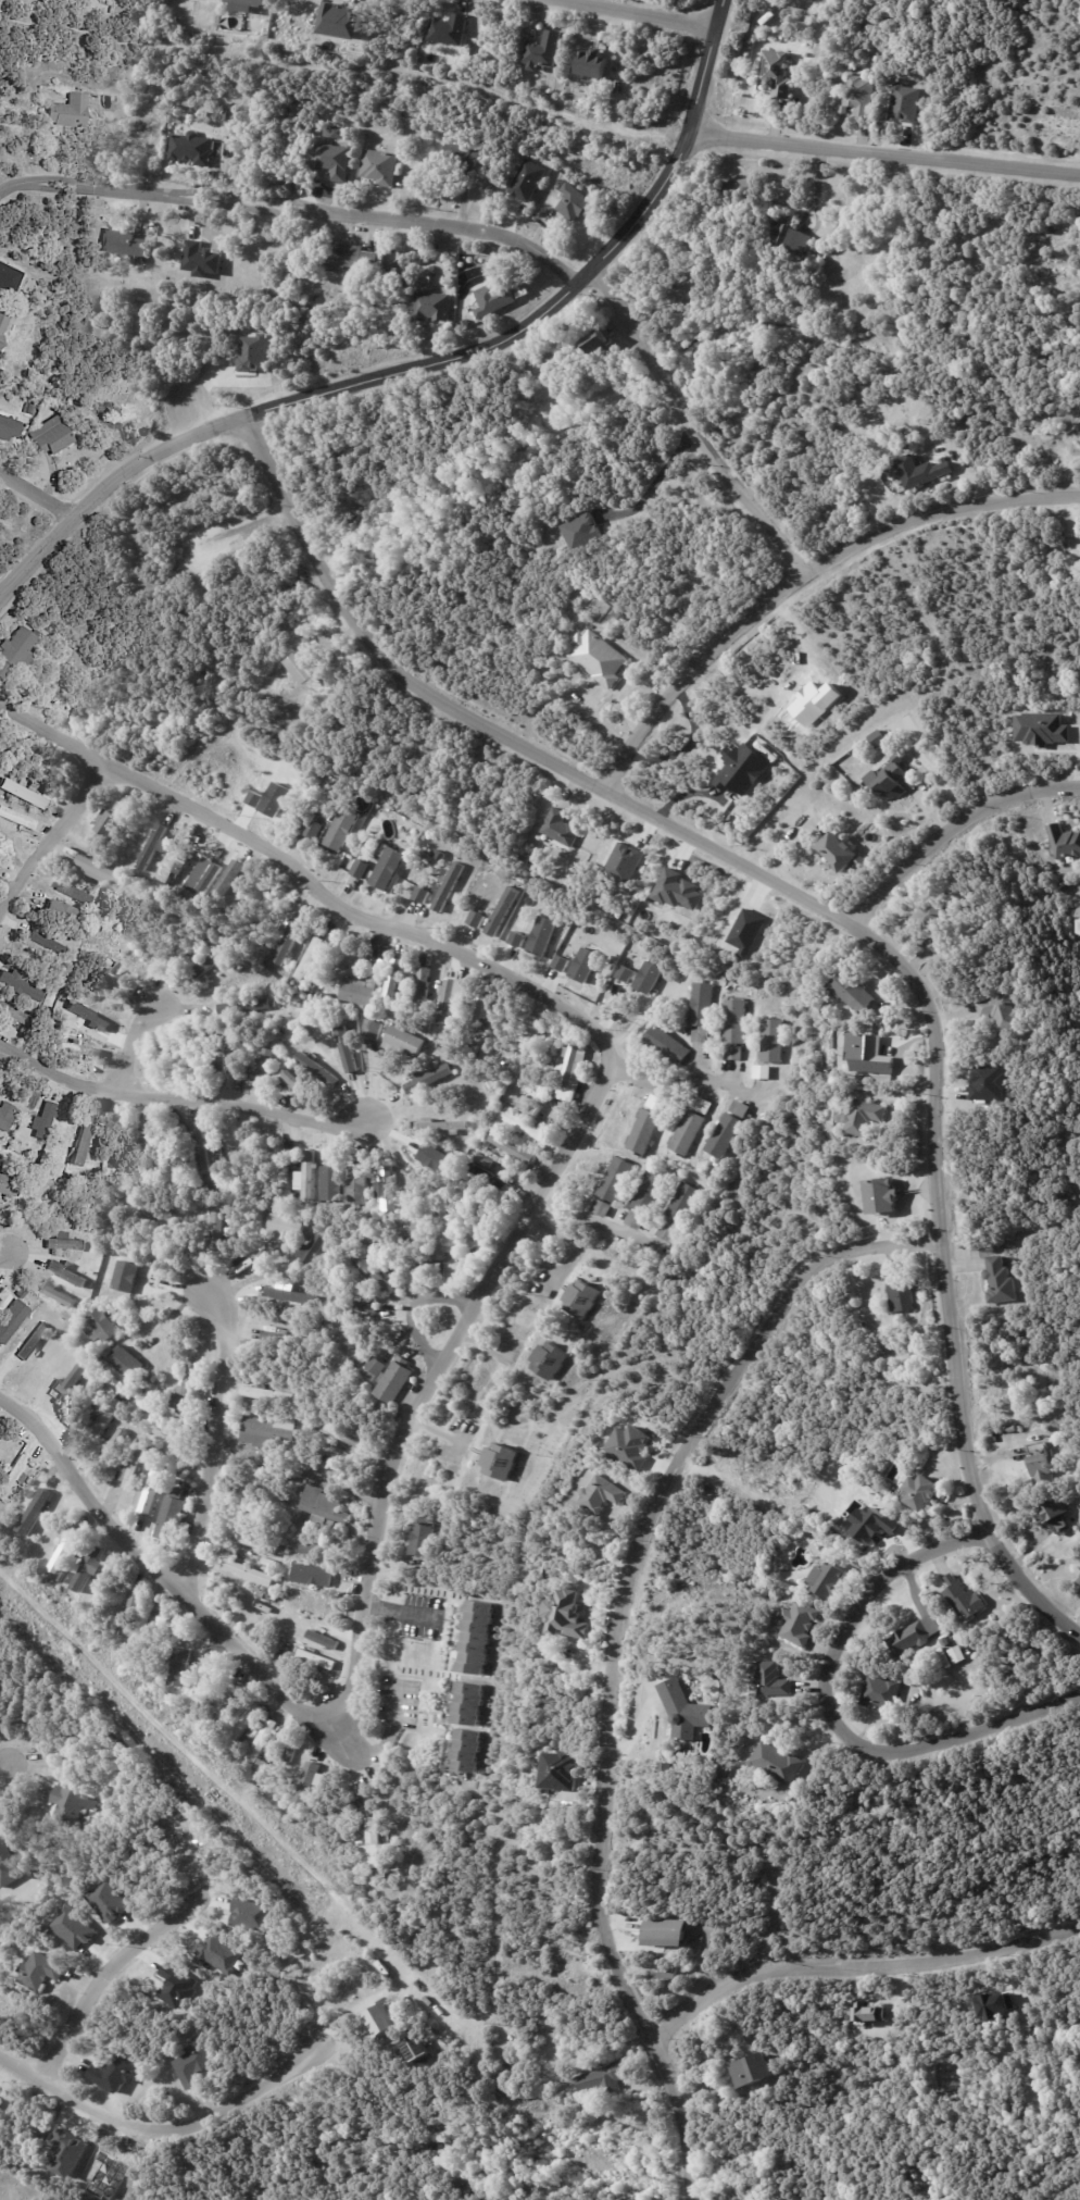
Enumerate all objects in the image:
building: (247, 5)
road: (642, 12)
building: (347, 23)
building: (449, 29)
building: (547, 51)
building: (803, 54)
building: (592, 64)
building: (776, 74)
building: (857, 97)
building: (164, 107)
building: (70, 112)
building: (192, 149)
building: (228, 150)
building: (464, 158)
road: (887, 158)
building: (382, 167)
building: (526, 179)
building: (741, 187)
building: (578, 204)
road: (293, 208)
building: (537, 216)
building: (792, 239)
building: (126, 244)
building: (352, 258)
building: (200, 259)
building: (424, 276)
building: (9, 277)
building: (143, 283)
building: (495, 300)
building: (435, 308)
building: (3, 325)
building: (598, 343)
road: (429, 362)
building: (551, 381)
building: (28, 410)
road: (702, 425)
building: (9, 431)
building: (52, 437)
building: (925, 470)
road: (663, 471)
road: (37, 496)
road: (244, 523)
road: (807, 580)
building: (620, 617)
building: (15, 650)
building: (600, 659)
building: (313, 663)
building: (303, 667)
building: (1039, 729)
building: (878, 737)
building: (742, 770)
building: (892, 779)
building: (34, 785)
building: (23, 794)
building: (16, 819)
building: (113, 823)
building: (406, 824)
building: (563, 828)
building: (316, 829)
building: (343, 829)
road: (51, 834)
road: (955, 835)
building: (1064, 842)
building: (155, 845)
building: (842, 850)
building: (526, 861)
building: (179, 863)
building: (363, 869)
building: (389, 869)
building: (104, 874)
building: (228, 880)
building: (451, 887)
building: (676, 890)
building: (76, 894)
building: (420, 894)
building: (505, 911)
building: (63, 915)
building: (476, 918)
road: (840, 918)
building: (929, 924)
building: (1077, 924)
building: (745, 931)
building: (541, 935)
building: (289, 940)
building: (48, 944)
building: (190, 946)
building: (311, 958)
building: (216, 960)
building: (583, 965)
building: (648, 977)
building: (118, 980)
building: (394, 982)
building: (22, 986)
building: (315, 987)
building: (335, 989)
building: (361, 992)
building: (425, 992)
building: (857, 993)
building: (452, 1005)
building: (705, 1005)
building: (237, 1006)
building: (481, 1009)
building: (995, 1012)
building: (15, 1016)
building: (736, 1022)
building: (376, 1029)
building: (281, 1031)
building: (204, 1036)
building: (704, 1036)
building: (256, 1041)
building: (775, 1041)
building: (405, 1043)
building: (435, 1045)
building: (671, 1046)
road: (130, 1048)
building: (347, 1048)
building: (80, 1051)
building: (231, 1053)
building: (737, 1053)
building: (221, 1055)
building: (188, 1060)
building: (266, 1068)
building: (317, 1069)
building: (569, 1071)
building: (766, 1072)
building: (429, 1077)
road: (682, 1080)
building: (297, 1081)
road: (177, 1098)
building: (660, 1104)
building: (705, 1106)
building: (533, 1107)
building: (741, 1108)
building: (7, 1117)
building: (865, 1117)
building: (48, 1121)
building: (444, 1126)
building: (525, 1126)
building: (646, 1131)
building: (691, 1133)
building: (728, 1135)
building: (85, 1141)
building: (151, 1144)
building: (20, 1145)
building: (490, 1145)
building: (202, 1146)
building: (512, 1147)
building: (229, 1148)
building: (434, 1157)
building: (486, 1160)
building: (0, 1165)
building: (310, 1176)
building: (494, 1179)
building: (616, 1181)
building: (331, 1183)
building: (360, 1185)
building: (10, 1186)
building: (388, 1190)
building: (650, 1192)
building: (889, 1193)
building: (681, 1205)
building: (602, 1208)
building: (153, 1209)
building: (415, 1216)
building: (635, 1218)
road: (594, 1220)
building: (470, 1225)
building: (289, 1228)
building: (91, 1230)
building: (663, 1232)
building: (447, 1240)
building: (415, 1241)
building: (64, 1244)
building: (991, 1251)
building: (312, 1252)
road: (2, 1254)
building: (246, 1256)
road: (499, 1265)
building: (290, 1271)
building: (65, 1272)
building: (125, 1276)
building: (374, 1276)
building: (997, 1282)
building: (904, 1290)
building: (3, 1295)
building: (62, 1297)
building: (585, 1301)
building: (356, 1306)
road: (413, 1307)
building: (13, 1320)
building: (103, 1327)
building: (288, 1338)
building: (130, 1347)
building: (554, 1362)
building: (374, 1369)
building: (152, 1381)
building: (395, 1381)
building: (68, 1385)
building: (190, 1391)
building: (269, 1394)
building: (126, 1395)
building: (110, 1418)
building: (272, 1431)
building: (350, 1438)
building: (146, 1442)
road: (209, 1444)
building: (115, 1445)
building: (629, 1445)
building: (158, 1456)
building: (278, 1461)
building: (505, 1463)
building: (135, 1470)
building: (1039, 1470)
building: (12, 1478)
building: (282, 1478)
building: (153, 1491)
building: (602, 1492)
building: (925, 1492)
building: (179, 1493)
building: (327, 1508)
building: (39, 1512)
building: (1051, 1513)
building: (172, 1520)
building: (872, 1524)
building: (423, 1540)
building: (53, 1545)
building: (261, 1545)
building: (68, 1550)
building: (318, 1551)
building: (286, 1552)
building: (312, 1574)
building: (254, 1576)
building: (831, 1579)
building: (1078, 1580)
building: (1079, 1582)
building: (967, 1600)
road: (397, 1609)
building: (567, 1615)
building: (134, 1617)
building: (800, 1624)
building: (160, 1635)
building: (478, 1637)
building: (917, 1637)
building: (323, 1639)
building: (947, 1642)
road: (625, 1645)
building: (319, 1661)
building: (184, 1667)
building: (775, 1680)
building: (913, 1680)
building: (208, 1687)
building: (884, 1692)
building: (229, 1700)
building: (470, 1703)
building: (687, 1711)
road: (836, 1718)
building: (246, 1724)
building: (262, 1742)
road: (375, 1750)
building: (469, 1750)
building: (289, 1754)
building: (780, 1764)
building: (266, 1766)
building: (290, 1768)
building: (566, 1772)
road: (4, 1774)
building: (728, 1774)
building: (306, 1783)
building: (73, 1801)
building: (365, 1825)
building: (364, 1836)
building: (379, 1845)
building: (8, 1866)
power tower: (314, 1888)
building: (105, 1901)
building: (250, 1914)
building: (667, 1932)
road: (858, 1963)
road: (108, 1966)
building: (45, 1972)
building: (670, 1973)
building: (868, 2012)
building: (385, 2022)
building: (414, 2047)
building: (194, 2065)
building: (745, 2067)
building: (115, 2075)
building: (607, 2078)
building: (572, 2084)
building: (0, 2102)
road: (166, 2121)

